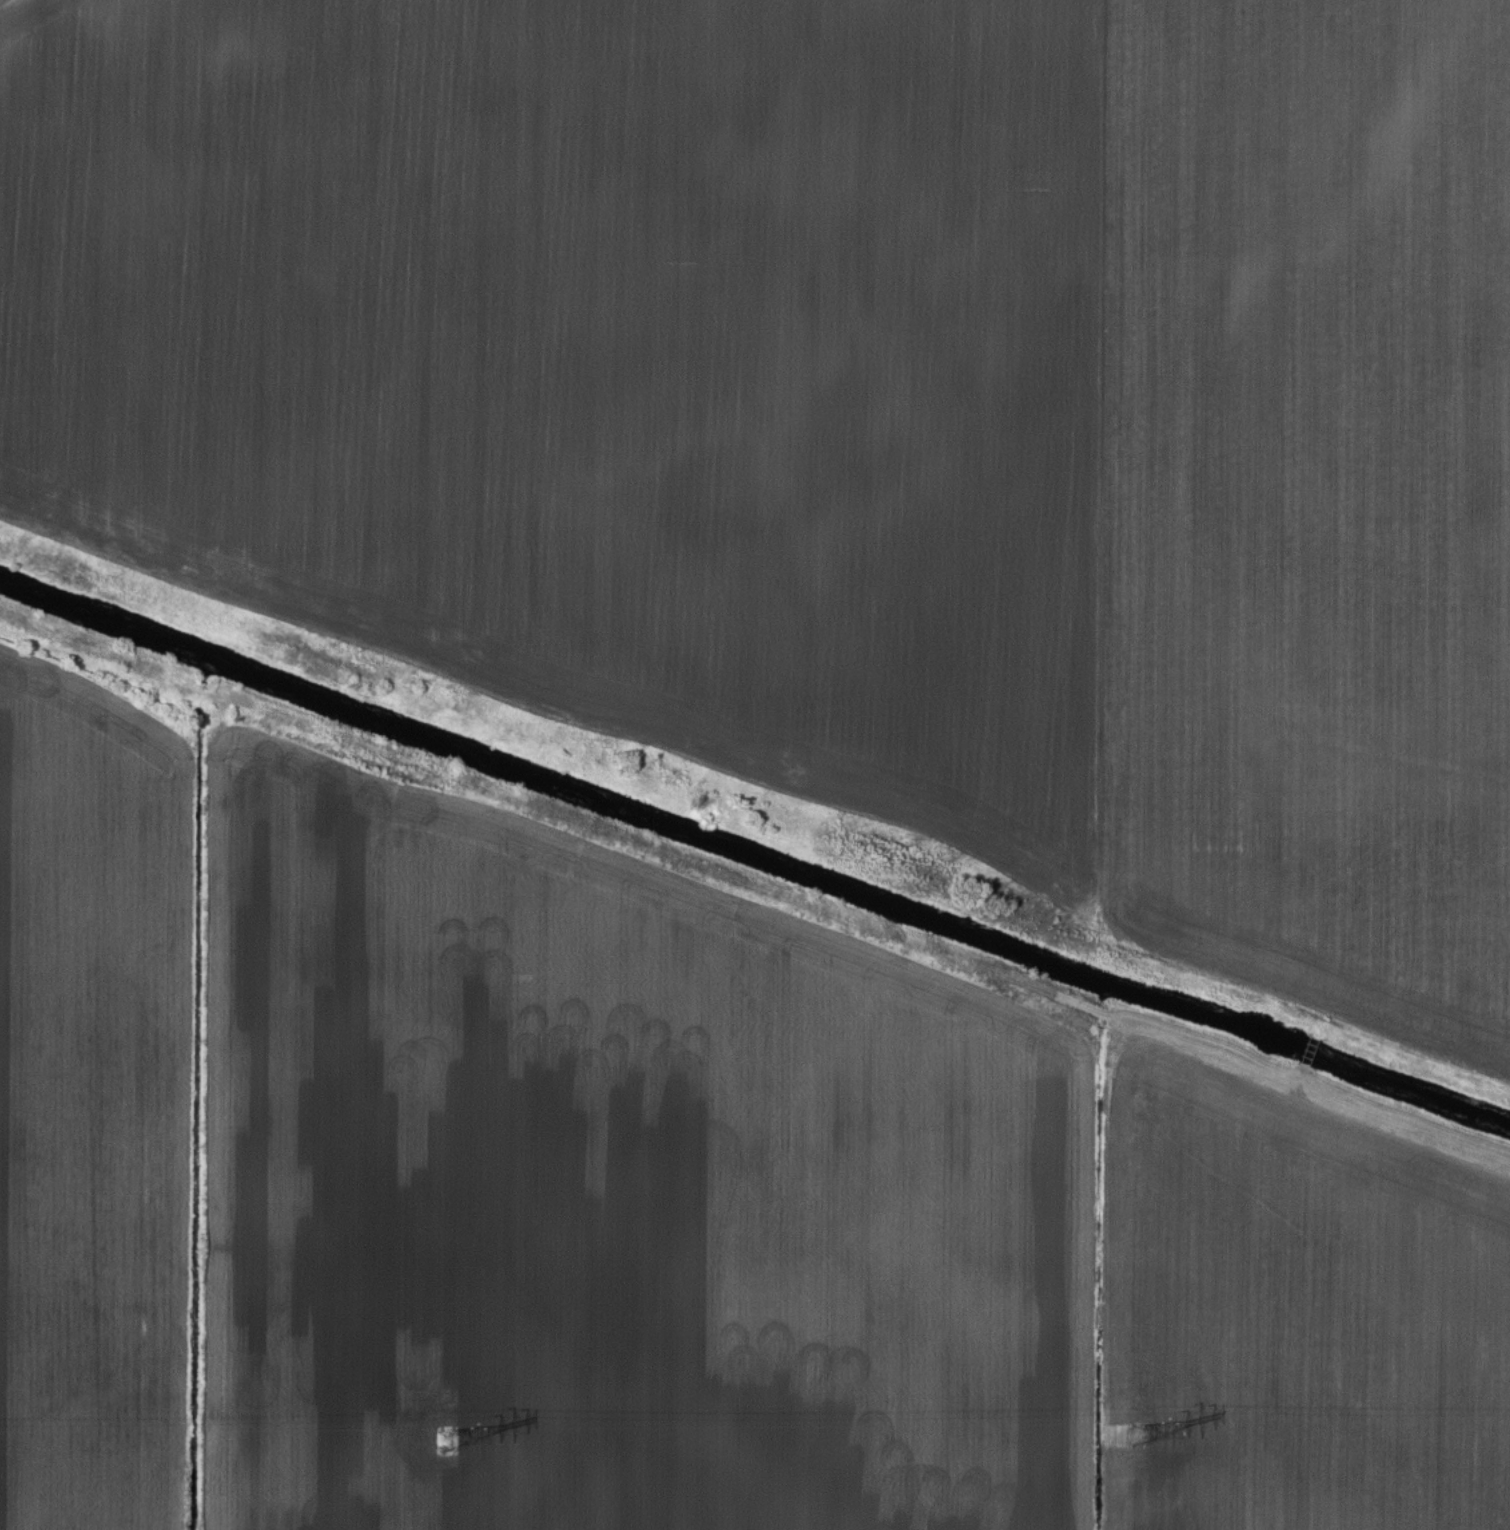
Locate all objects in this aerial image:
power tower: (1134, 1422)
power tower: (443, 1426)

